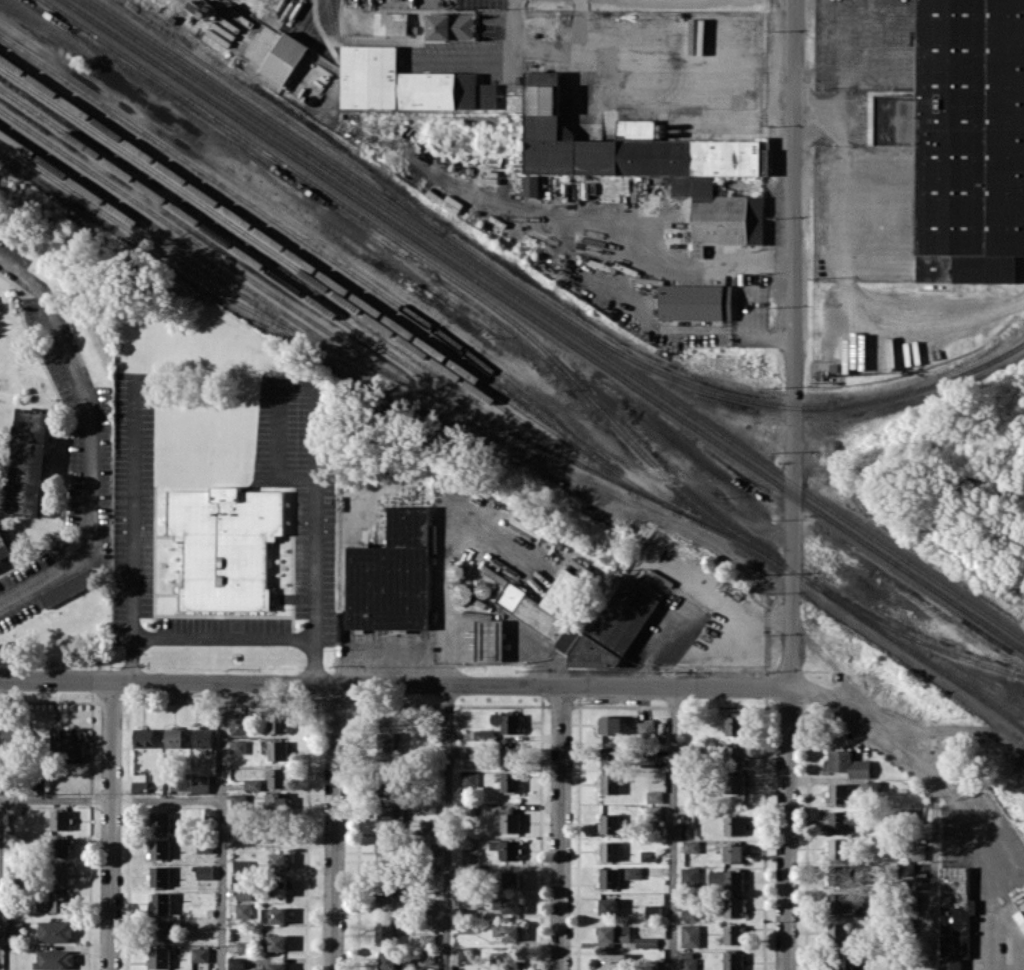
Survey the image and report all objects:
building: (393, 22)
building: (451, 26)
road: (511, 52)
building: (284, 58)
building: (369, 76)
building: (445, 91)
road: (839, 107)
railway: (278, 113)
building: (965, 139)
building: (651, 163)
building: (531, 184)
railway: (321, 201)
railway: (161, 239)
railway: (398, 240)
road: (845, 246)
railway: (185, 247)
railway: (312, 247)
road: (717, 265)
railway: (262, 266)
railway: (313, 278)
railway: (203, 281)
railway: (339, 283)
railway: (534, 294)
building: (696, 302)
railway: (549, 319)
railway: (541, 325)
road: (691, 329)
road: (795, 343)
railway: (375, 362)
road: (89, 441)
road: (316, 457)
building: (30, 462)
road: (132, 527)
building: (225, 544)
building: (5, 548)
railway: (767, 553)
building: (392, 574)
building: (69, 587)
building: (462, 592)
building: (541, 613)
road: (223, 638)
railway: (915, 638)
building: (490, 640)
railway: (919, 657)
road: (394, 684)
building: (278, 722)
building: (507, 722)
building: (238, 725)
building: (611, 725)
building: (735, 725)
building: (647, 728)
road: (861, 729)
building: (484, 734)
building: (11, 737)
building: (143, 737)
building: (202, 737)
building: (175, 738)
building: (71, 745)
building: (386, 745)
building: (238, 746)
building: (277, 750)
building: (510, 754)
building: (736, 754)
building: (611, 756)
building: (647, 757)
building: (849, 763)
building: (277, 777)
building: (469, 778)
building: (137, 780)
building: (510, 781)
building: (200, 783)
building: (387, 783)
building: (610, 783)
building: (734, 783)
building: (253, 784)
building: (839, 793)
building: (654, 796)
road: (111, 799)
building: (238, 800)
building: (276, 802)
building: (428, 807)
building: (390, 819)
building: (60, 820)
building: (843, 820)
building: (159, 821)
building: (510, 822)
building: (610, 823)
building: (734, 825)
road: (110, 826)
road: (222, 826)
road: (334, 827)
road: (448, 827)
road: (560, 827)
road: (673, 828)
road: (787, 828)
building: (688, 830)
building: (278, 832)
building: (428, 832)
building: (204, 845)
building: (691, 846)
building: (61, 847)
building: (159, 848)
building: (506, 848)
building: (837, 849)
building: (610, 850)
building: (382, 851)
building: (917, 852)
building: (735, 853)
building: (470, 855)
building: (276, 860)
building: (241, 866)
road: (981, 866)
building: (204, 871)
road: (932, 871)
building: (633, 872)
building: (61, 874)
building: (159, 876)
building: (690, 876)
building: (511, 878)
building: (609, 878)
building: (726, 880)
building: (278, 887)
building: (243, 892)
building: (384, 893)
building: (467, 900)
building: (59, 901)
building: (160, 903)
building: (507, 904)
building: (842, 904)
building: (607, 906)
building: (733, 907)
building: (243, 910)
building: (654, 911)
building: (690, 914)
building: (273, 915)
building: (954, 916)
building: (466, 927)
building: (14, 928)
building: (162, 929)
building: (55, 931)
building: (385, 931)
building: (507, 932)
building: (838, 932)
building: (613, 933)
building: (733, 934)
building: (691, 935)
building: (646, 942)
building: (266, 944)
building: (199, 954)
building: (466, 955)
building: (427, 956)
building: (159, 957)
building: (54, 959)
building: (506, 959)
building: (612, 960)
building: (388, 961)
building: (733, 961)
building: (837, 961)
building: (236, 963)
building: (689, 963)
building: (277, 965)

